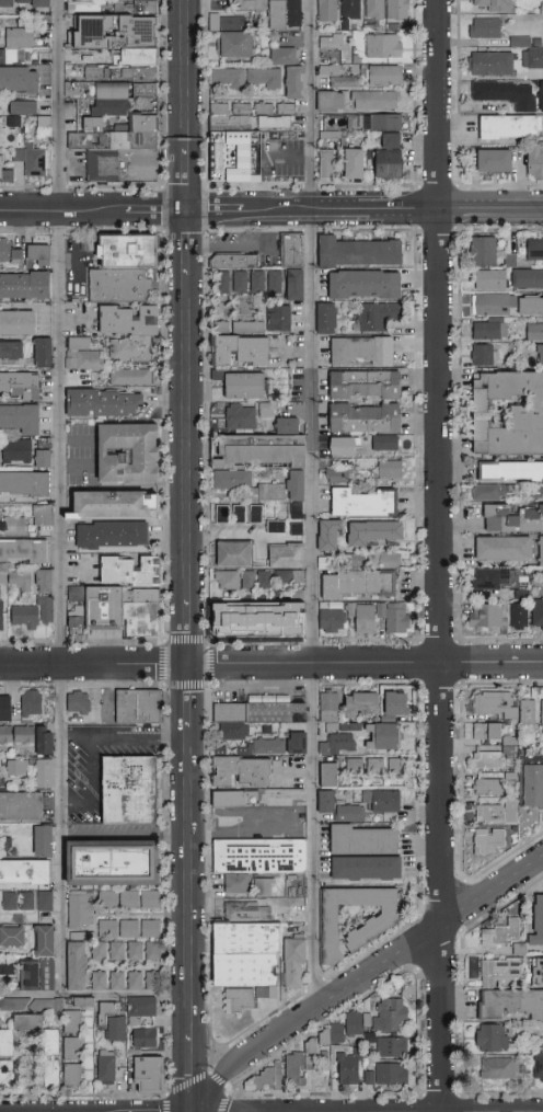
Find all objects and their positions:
building: (22, 2)
building: (4, 4)
building: (38, 4)
building: (492, 4)
building: (249, 5)
building: (141, 8)
building: (351, 9)
building: (374, 10)
building: (397, 10)
building: (327, 11)
building: (285, 13)
building: (227, 22)
building: (482, 26)
building: (330, 41)
building: (517, 41)
building: (15, 43)
building: (235, 44)
building: (383, 46)
building: (284, 55)
building: (532, 56)
building: (487, 62)
road: (185, 73)
building: (337, 76)
building: (384, 76)
building: (263, 78)
building: (19, 79)
building: (228, 79)
building: (294, 83)
building: (73, 90)
building: (501, 93)
building: (538, 95)
building: (119, 98)
building: (359, 100)
building: (23, 107)
building: (274, 115)
building: (11, 119)
building: (44, 122)
building: (373, 122)
building: (502, 125)
building: (230, 141)
building: (389, 158)
building: (533, 158)
building: (489, 159)
building: (32, 160)
building: (326, 164)
building: (354, 164)
building: (5, 171)
road: (185, 180)
road: (271, 211)
road: (185, 244)
building: (533, 248)
building: (293, 250)
building: (478, 250)
building: (9, 252)
building: (357, 252)
building: (39, 254)
building: (507, 259)
building: (234, 261)
building: (124, 268)
building: (524, 277)
building: (486, 278)
building: (220, 280)
building: (240, 282)
building: (266, 282)
building: (294, 285)
building: (365, 285)
building: (24, 286)
building: (487, 303)
building: (528, 305)
building: (376, 316)
building: (279, 318)
building: (326, 319)
building: (16, 322)
building: (250, 326)
building: (486, 330)
building: (532, 330)
building: (130, 331)
road: (61, 332)
building: (11, 349)
building: (240, 351)
building: (361, 352)
building: (44, 353)
building: (482, 353)
building: (82, 354)
building: (538, 354)
building: (130, 377)
building: (365, 385)
building: (20, 386)
building: (245, 386)
building: (104, 403)
building: (266, 410)
building: (505, 412)
building: (240, 416)
building: (20, 417)
building: (365, 419)
building: (287, 424)
road: (186, 437)
building: (386, 443)
building: (344, 446)
building: (15, 451)
building: (128, 452)
building: (43, 458)
building: (261, 465)
building: (390, 468)
building: (507, 469)
building: (338, 474)
building: (24, 483)
building: (484, 491)
building: (534, 491)
building: (363, 503)
building: (116, 505)
road: (314, 506)
building: (239, 514)
building: (43, 515)
building: (494, 518)
building: (530, 518)
building: (13, 526)
building: (276, 526)
building: (294, 528)
building: (376, 532)
building: (112, 535)
building: (330, 535)
building: (498, 548)
building: (22, 550)
building: (539, 550)
building: (234, 553)
building: (287, 555)
road: (441, 555)
building: (355, 560)
building: (384, 560)
building: (129, 570)
building: (290, 577)
building: (486, 577)
building: (3, 578)
building: (245, 578)
building: (259, 578)
building: (226, 580)
building: (44, 581)
building: (20, 582)
building: (359, 583)
building: (141, 594)
building: (299, 596)
building: (104, 607)
building: (536, 612)
building: (34, 614)
building: (70, 615)
building: (482, 615)
building: (394, 617)
building: (362, 618)
building: (142, 619)
building: (516, 619)
building: (234, 620)
building: (280, 621)
building: (331, 621)
road: (187, 632)
road: (270, 665)
road: (187, 697)
building: (78, 702)
building: (396, 702)
building: (494, 703)
building: (30, 704)
building: (361, 704)
building: (138, 707)
building: (3, 709)
building: (330, 709)
building: (258, 710)
building: (528, 712)
building: (542, 712)
building: (232, 729)
building: (487, 731)
building: (4, 735)
building: (22, 735)
building: (383, 736)
road: (79, 740)
building: (42, 742)
building: (297, 743)
building: (338, 744)
building: (268, 745)
building: (507, 745)
road: (97, 746)
building: (488, 759)
building: (355, 766)
building: (376, 766)
building: (396, 766)
building: (15, 769)
building: (242, 771)
building: (43, 775)
building: (328, 775)
building: (488, 787)
building: (130, 790)
building: (534, 791)
building: (279, 798)
building: (236, 799)
building: (383, 801)
building: (326, 802)
building: (20, 807)
building: (496, 812)
building: (349, 813)
road: (60, 830)
building: (362, 840)
building: (489, 840)
building: (41, 842)
building: (256, 859)
building: (113, 863)
building: (366, 868)
building: (24, 874)
road: (187, 881)
building: (264, 886)
building: (151, 898)
building: (108, 899)
building: (130, 899)
building: (8, 904)
building: (25, 904)
building: (44, 904)
building: (79, 910)
building: (297, 914)
building: (538, 921)
building: (107, 928)
building: (129, 928)
building: (151, 929)
building: (371, 929)
building: (502, 933)
building: (11, 940)
building: (42, 942)
building: (99, 951)
building: (116, 951)
building: (136, 951)
building: (152, 951)
building: (245, 954)
building: (294, 962)
building: (77, 966)
building: (7, 970)
building: (500, 970)
building: (536, 971)
building: (45, 973)
building: (27, 976)
building: (152, 979)
building: (99, 981)
building: (117, 981)
building: (135, 981)
road: (363, 981)
road: (94, 994)
building: (82, 1002)
building: (511, 1004)
building: (31, 1005)
building: (140, 1009)
building: (105, 1012)
building: (390, 1014)
building: (25, 1021)
building: (71, 1021)
building: (354, 1022)
building: (115, 1029)
building: (333, 1034)
building: (493, 1038)
building: (148, 1039)
building: (49, 1043)
building: (5, 1044)
building: (392, 1047)
building: (71, 1048)
building: (298, 1065)
building: (538, 1067)
building: (348, 1068)
building: (499, 1068)
building: (105, 1070)
road: (189, 1073)
building: (50, 1074)
building: (388, 1074)
building: (149, 1075)
building: (5, 1076)
building: (71, 1076)
building: (265, 1079)

